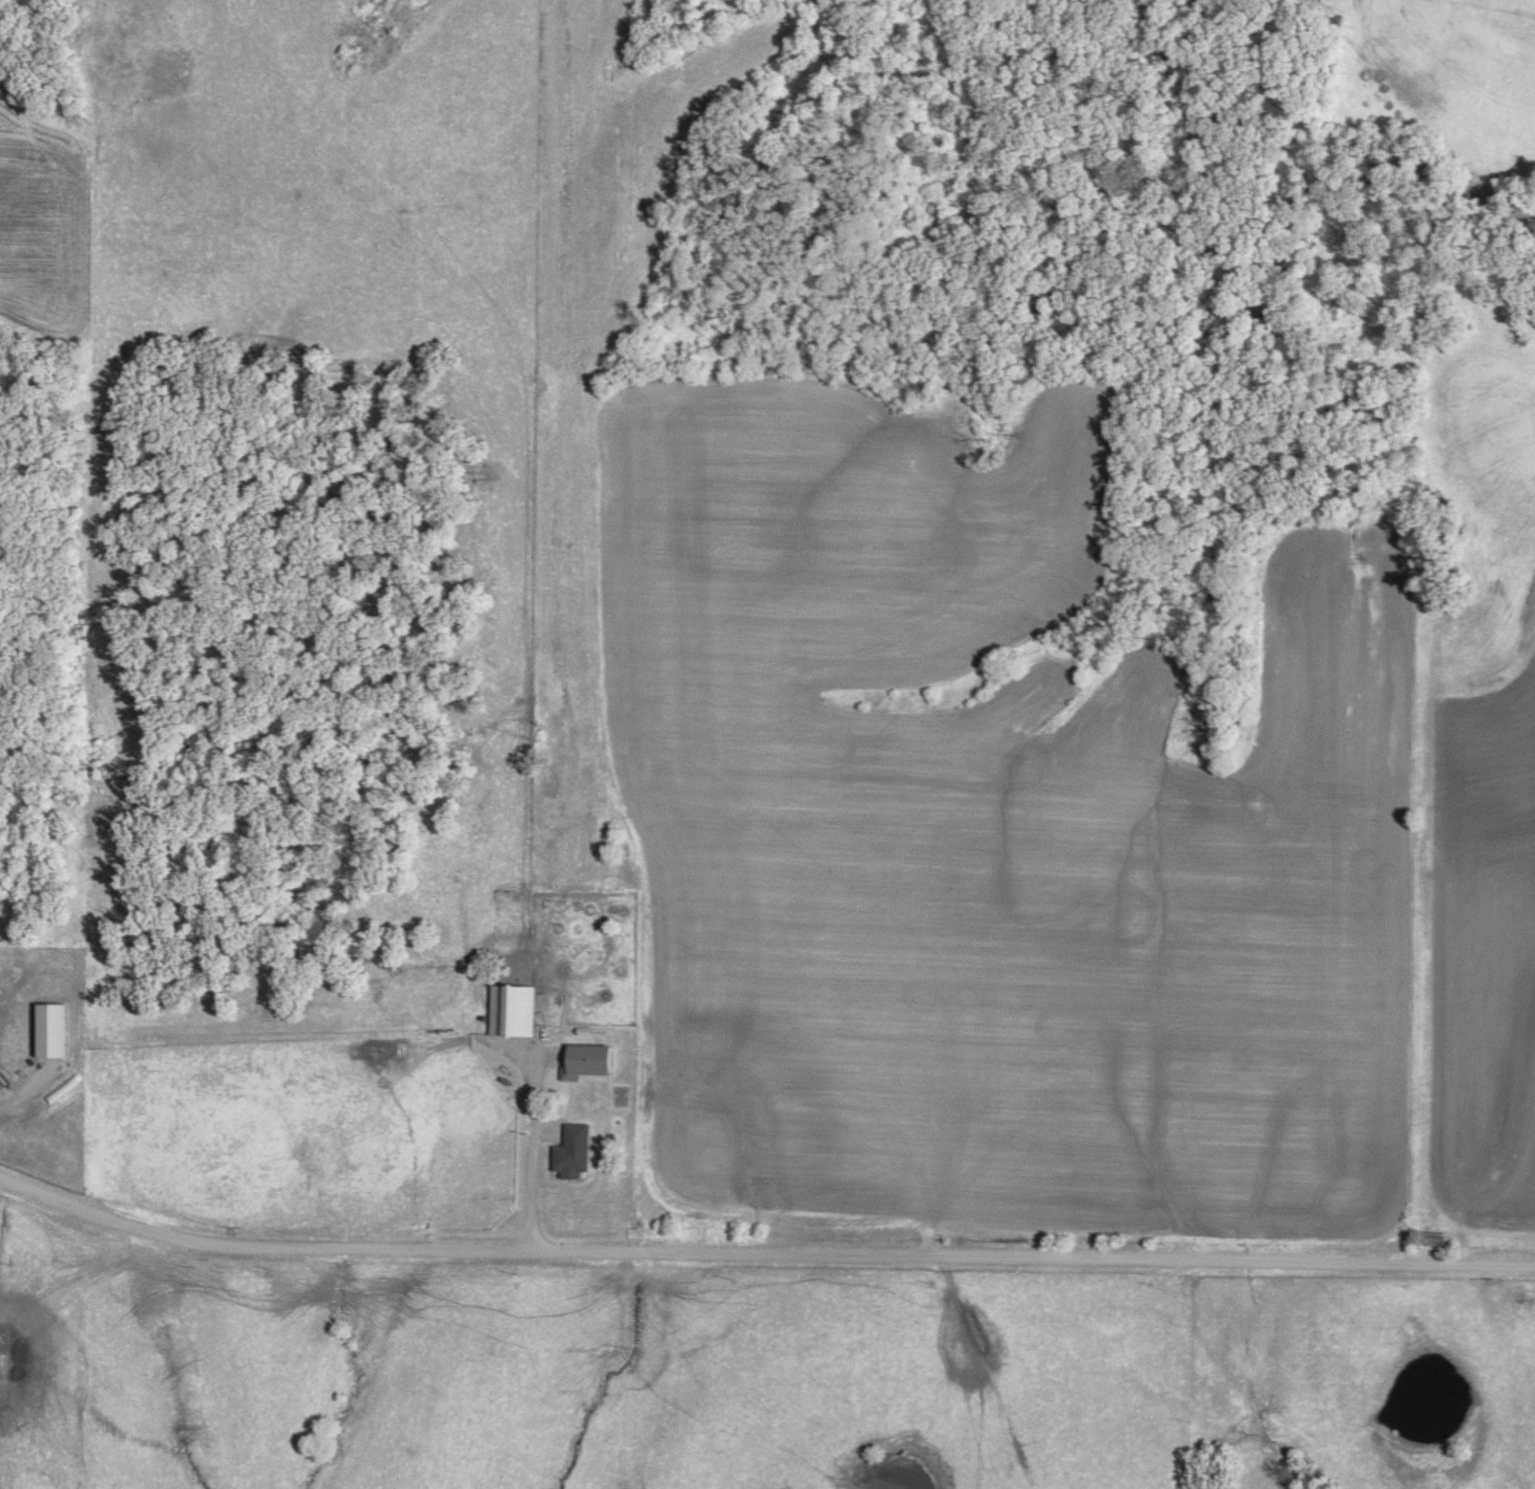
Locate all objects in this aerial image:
building: (510, 1010)
building: (571, 1151)
road: (532, 1183)
road: (761, 1253)
road: (625, 1370)
road: (987, 1372)

